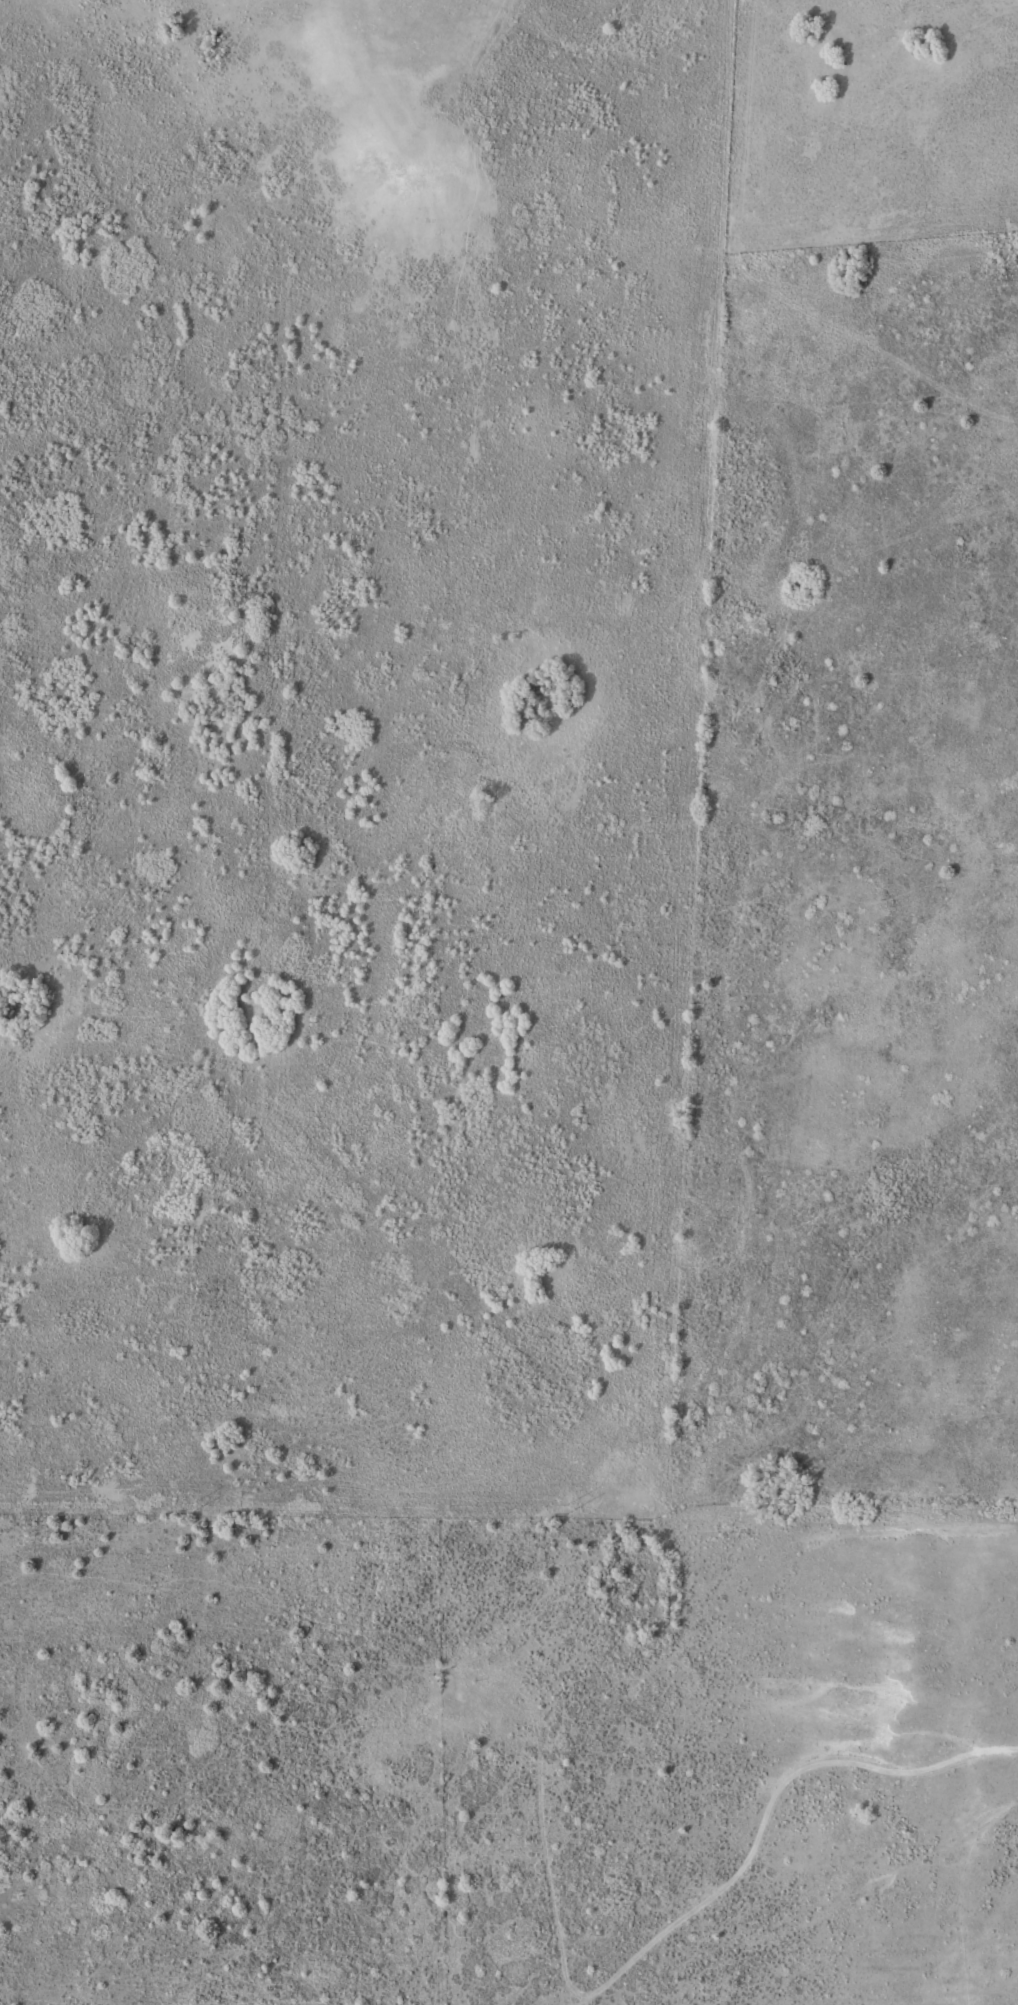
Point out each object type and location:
power tower: (190, 1505)
power tower: (565, 1507)
power tower: (939, 1510)

